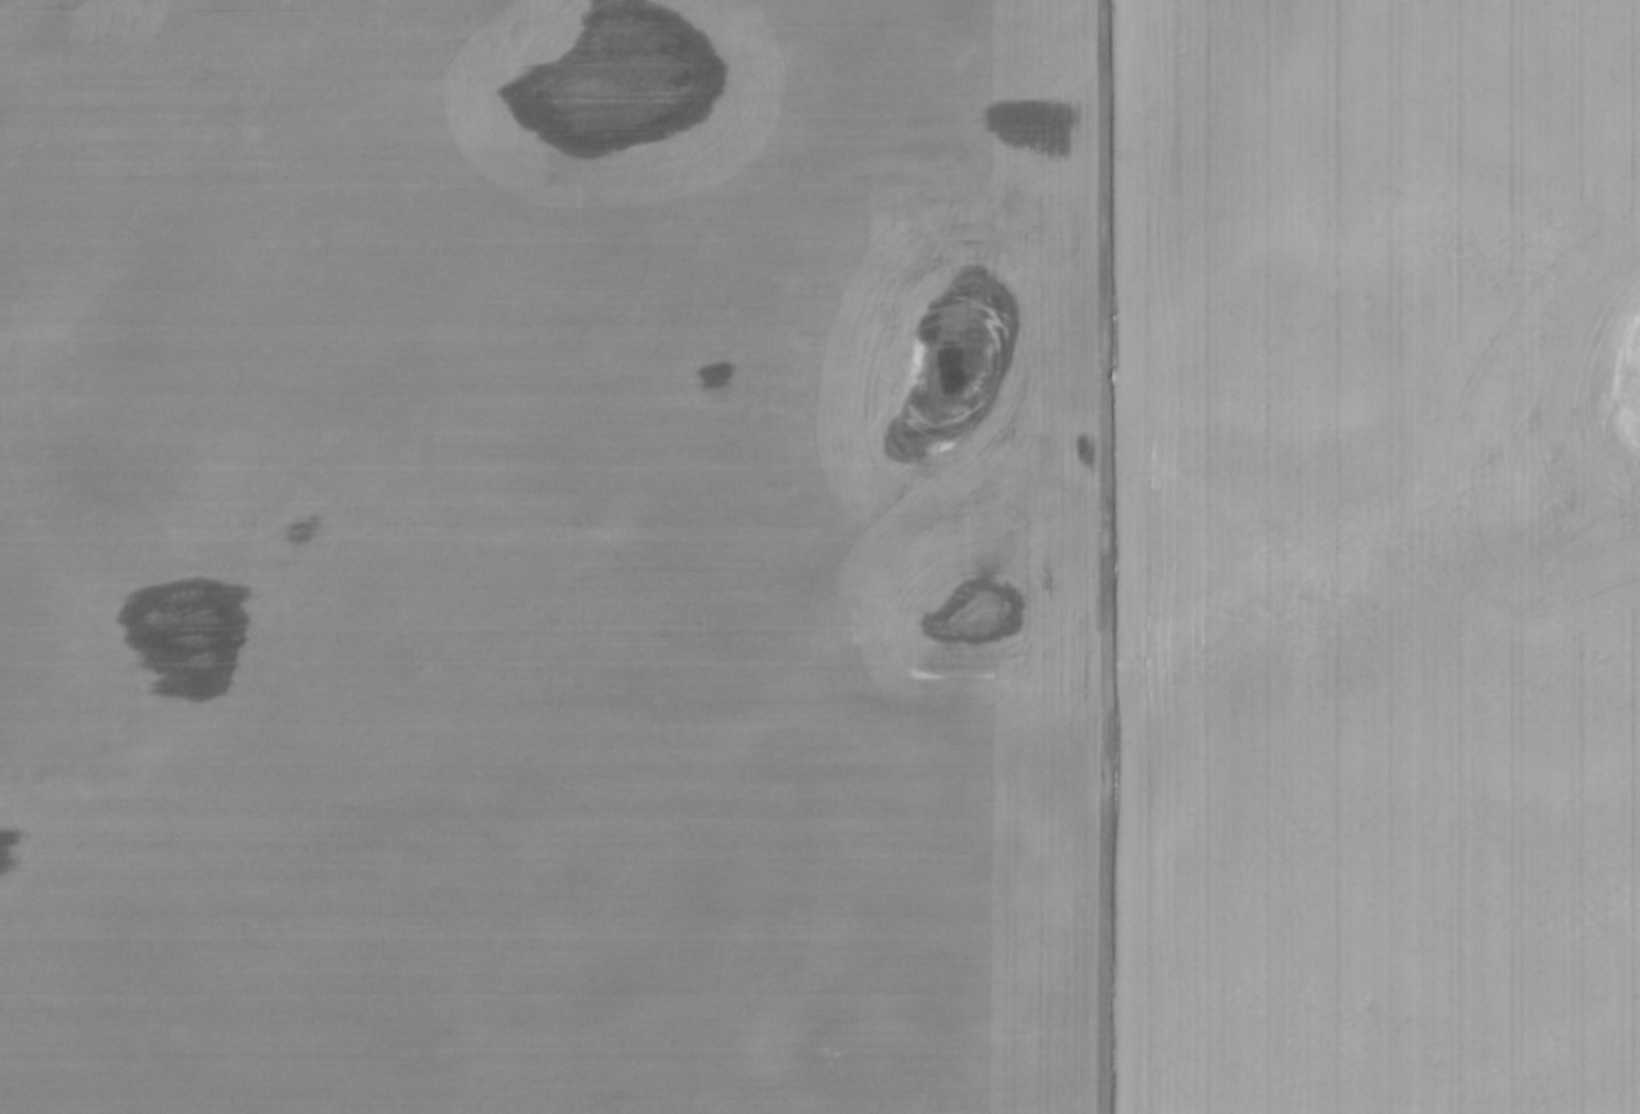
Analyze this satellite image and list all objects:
road: (1101, 556)

